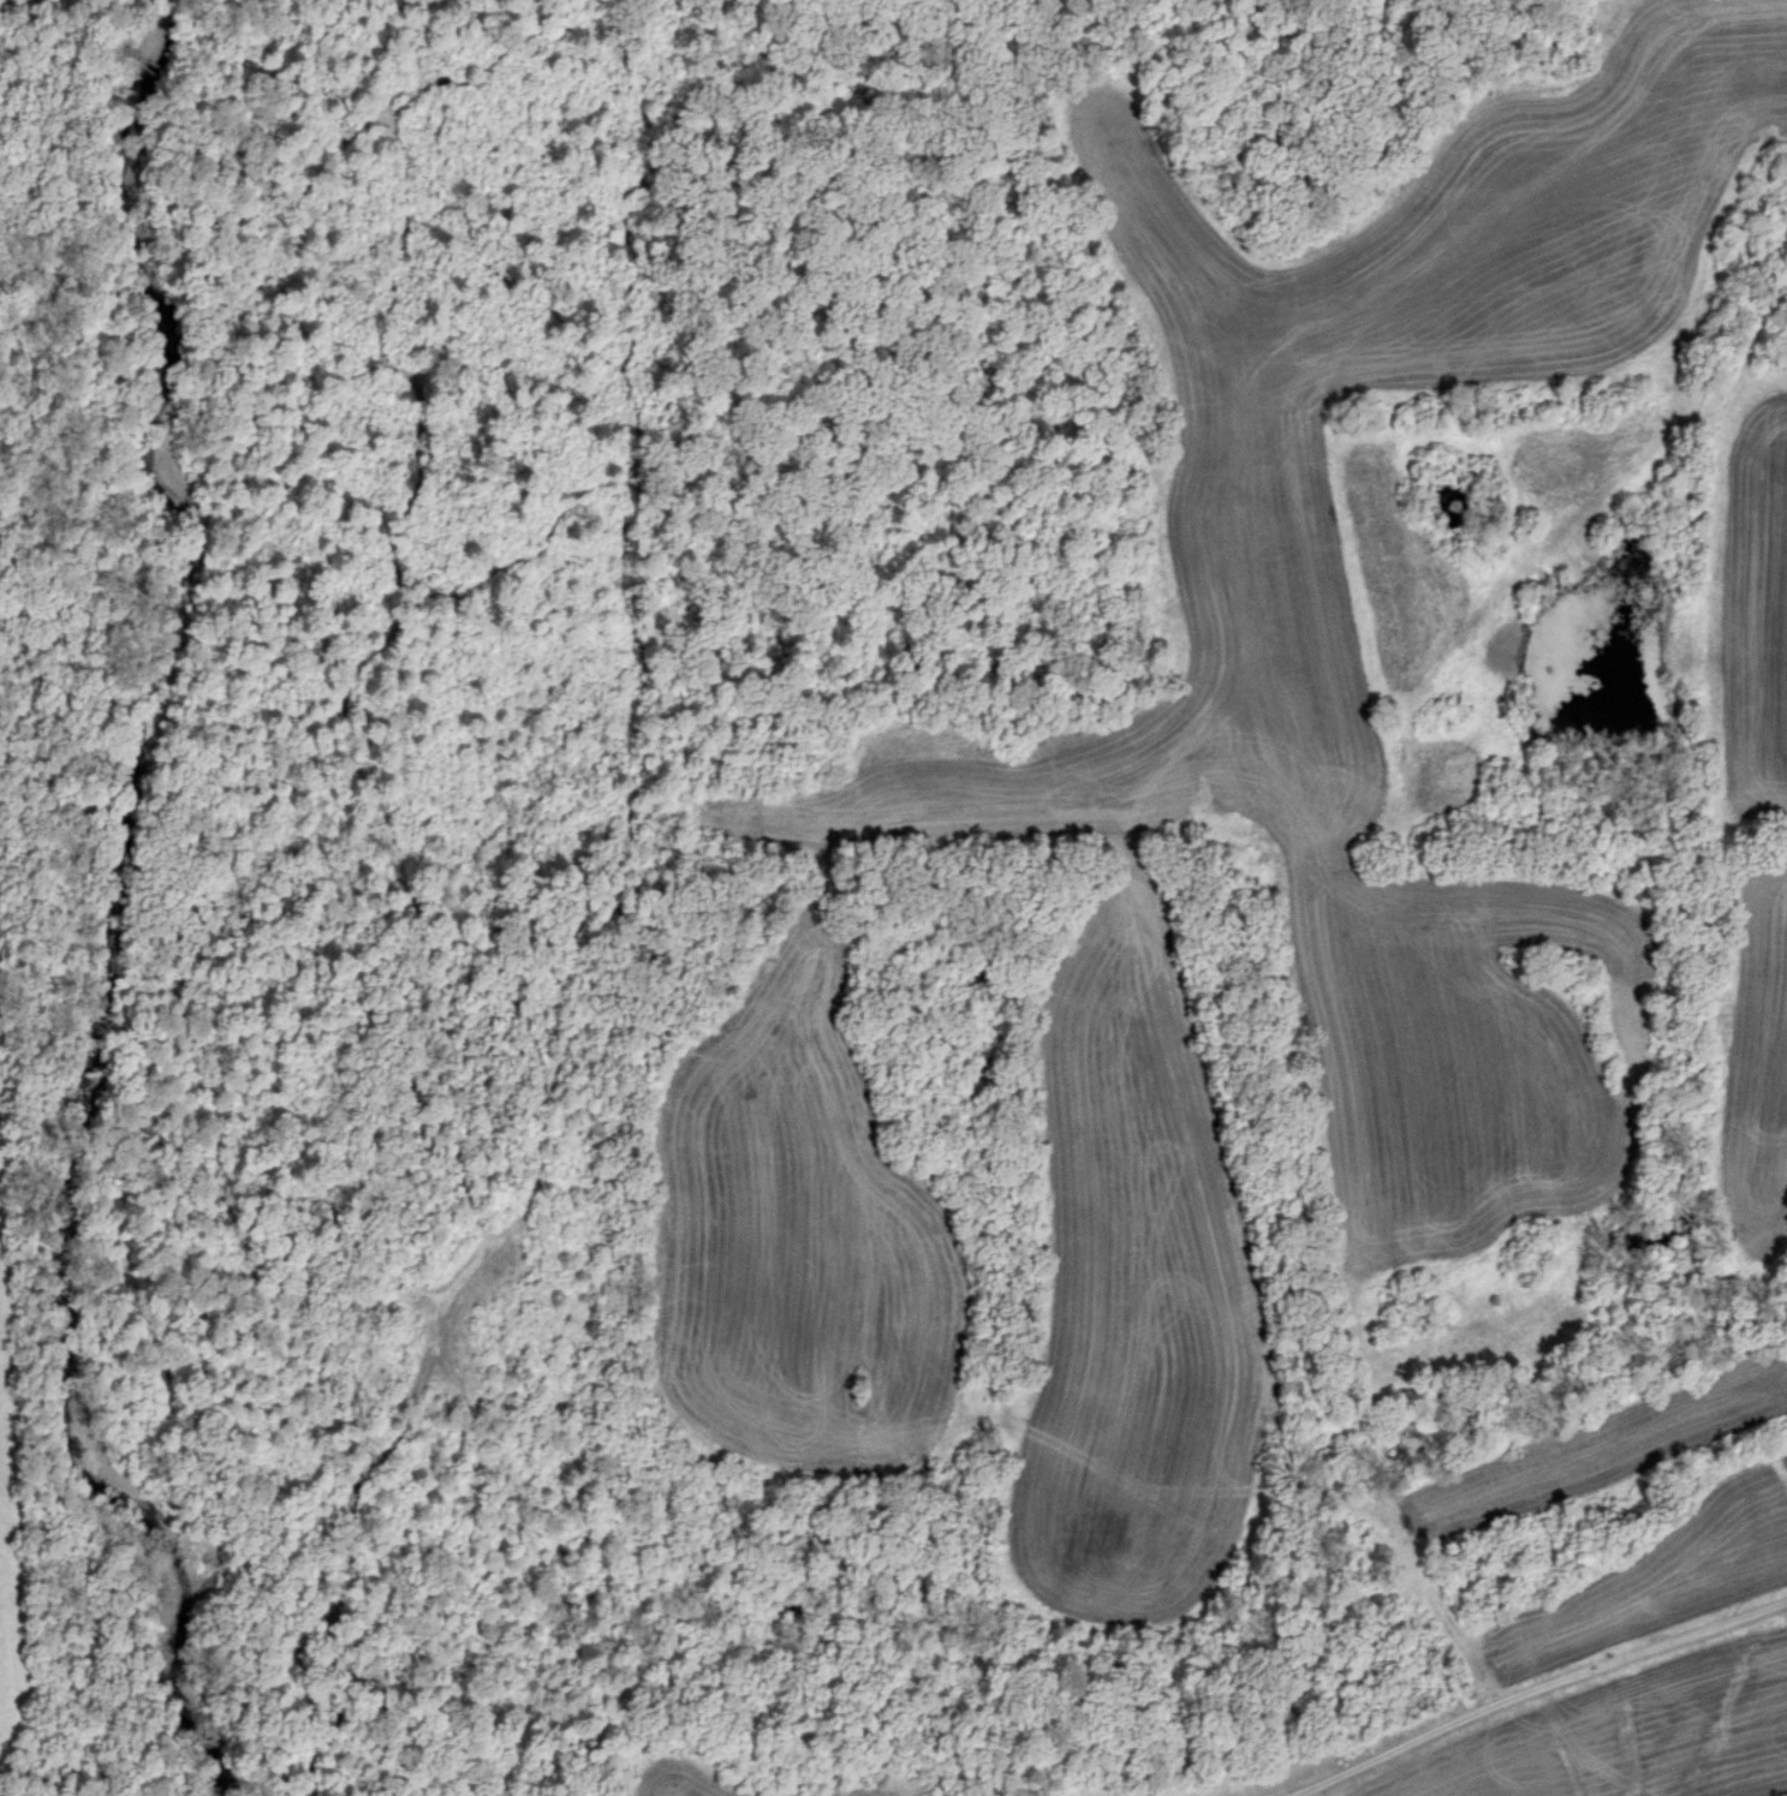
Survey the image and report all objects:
road: (1538, 1688)

